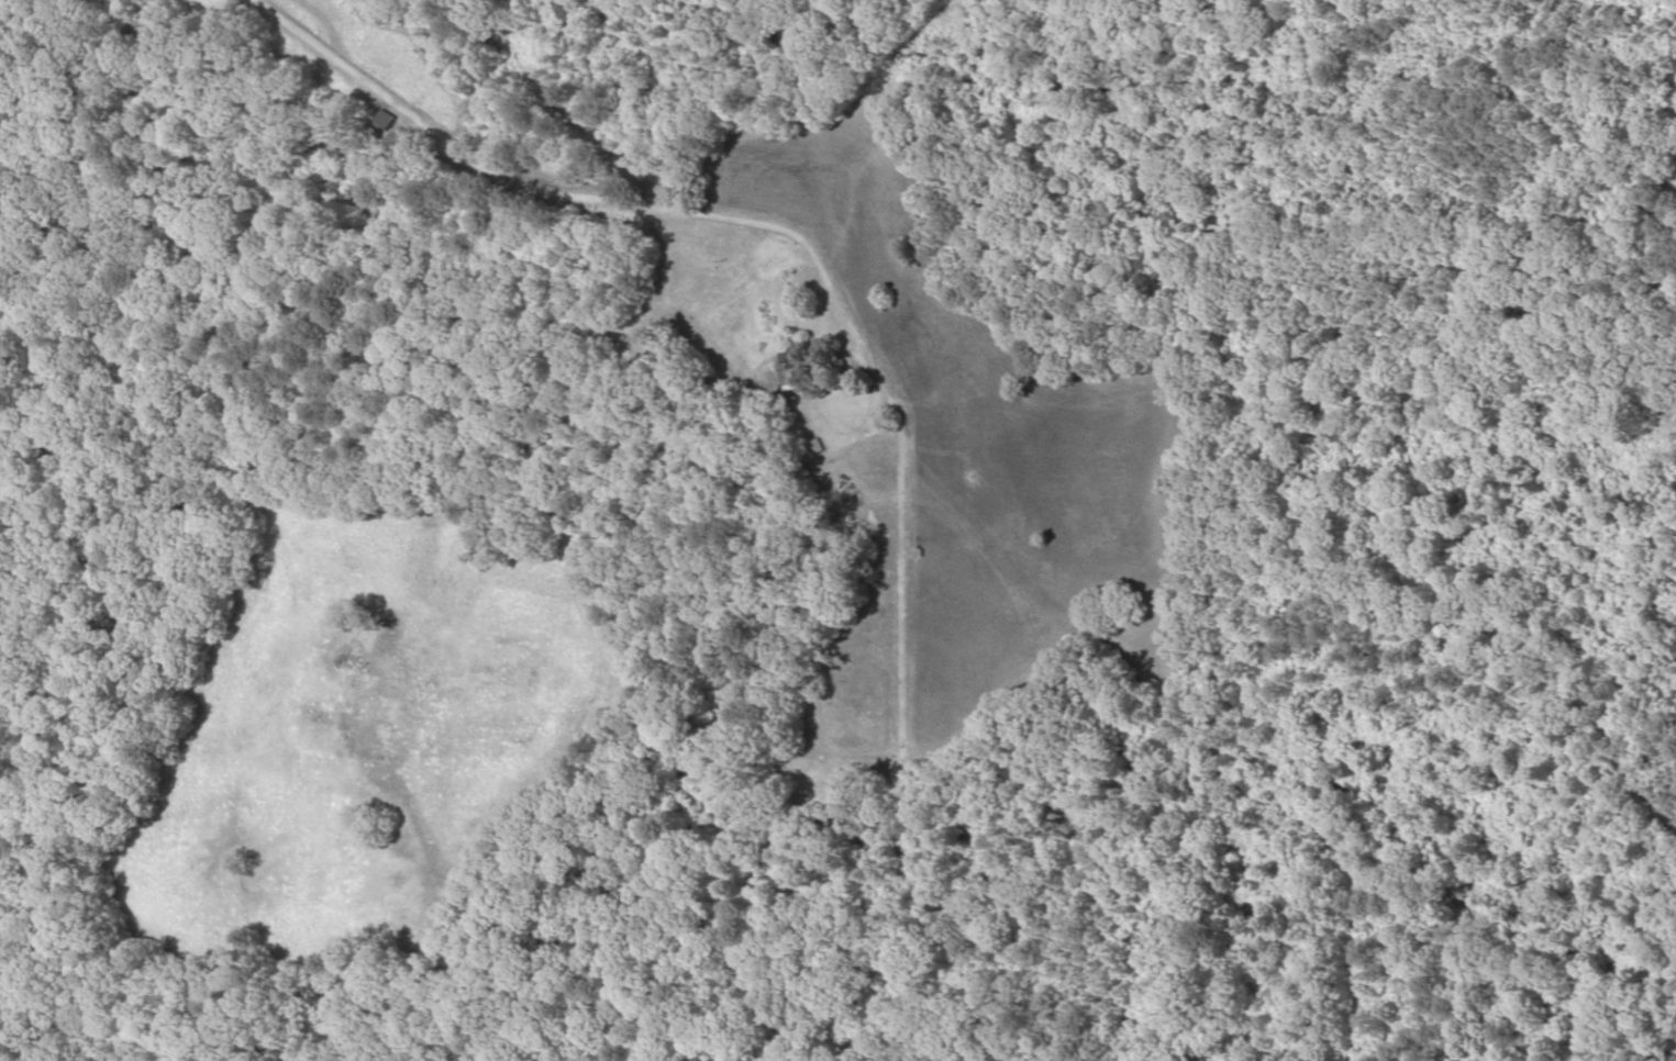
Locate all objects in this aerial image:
building: (390, 122)
road: (875, 418)

